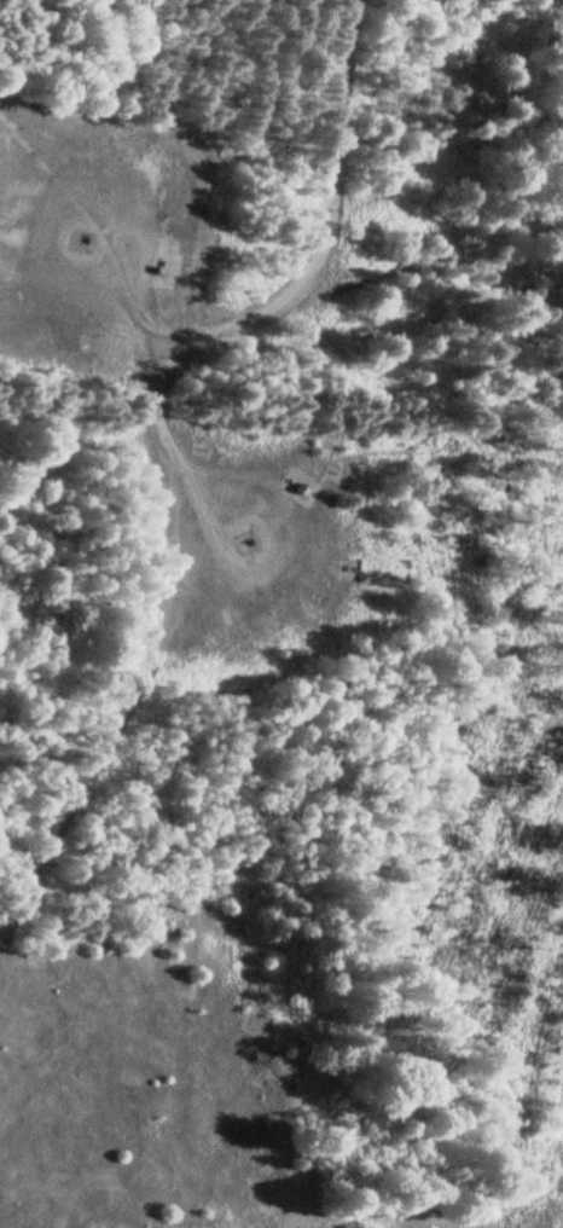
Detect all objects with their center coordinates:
road: (280, 291)
petroleum well: (239, 556)

